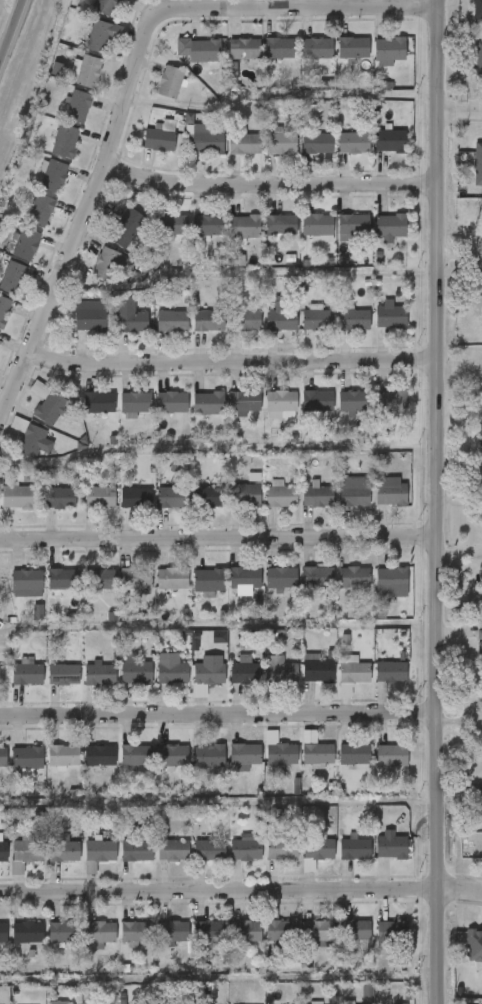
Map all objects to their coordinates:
building: (116, 1)
building: (104, 6)
building: (477, 9)
road: (10, 27)
building: (100, 37)
building: (88, 48)
building: (244, 48)
building: (279, 48)
building: (317, 48)
building: (353, 48)
building: (390, 49)
building: (205, 51)
building: (301, 60)
building: (338, 60)
building: (229, 61)
building: (265, 61)
building: (190, 63)
building: (374, 63)
building: (88, 72)
building: (471, 72)
building: (169, 82)
building: (71, 83)
road: (129, 86)
building: (155, 95)
building: (78, 107)
road: (460, 113)
building: (63, 119)
building: (159, 140)
building: (207, 140)
building: (391, 141)
building: (64, 142)
building: (280, 143)
building: (317, 143)
building: (244, 144)
building: (353, 144)
building: (145, 149)
building: (266, 153)
building: (374, 153)
building: (50, 154)
building: (338, 155)
building: (229, 156)
building: (302, 156)
building: (470, 176)
building: (52, 177)
road: (270, 184)
building: (37, 188)
building: (40, 211)
building: (25, 223)
building: (173, 225)
building: (281, 225)
building: (317, 225)
building: (353, 225)
building: (208, 226)
building: (244, 227)
building: (391, 227)
building: (126, 228)
building: (156, 236)
building: (265, 236)
building: (192, 237)
building: (338, 237)
building: (229, 239)
building: (303, 239)
building: (375, 239)
building: (112, 240)
building: (26, 244)
road: (460, 255)
building: (11, 256)
building: (105, 264)
building: (93, 276)
building: (12, 277)
building: (4, 310)
building: (89, 315)
building: (128, 316)
building: (390, 316)
building: (281, 318)
building: (245, 320)
building: (317, 320)
building: (353, 320)
building: (172, 321)
building: (208, 321)
building: (75, 328)
building: (375, 328)
building: (115, 329)
building: (232, 332)
building: (302, 332)
building: (338, 332)
building: (157, 333)
building: (195, 333)
building: (266, 333)
road: (232, 362)
building: (280, 401)
building: (317, 401)
building: (354, 401)
building: (136, 402)
building: (172, 402)
building: (244, 402)
building: (392, 402)
building: (98, 403)
building: (208, 403)
building: (48, 404)
building: (302, 413)
building: (84, 414)
building: (156, 414)
building: (229, 414)
building: (193, 415)
building: (265, 415)
building: (375, 415)
building: (32, 416)
building: (120, 416)
building: (480, 439)
building: (31, 442)
building: (19, 454)
building: (391, 492)
building: (244, 496)
building: (353, 496)
building: (17, 497)
building: (99, 497)
building: (208, 497)
building: (281, 497)
building: (317, 497)
building: (59, 498)
building: (136, 498)
building: (172, 498)
road: (437, 501)
building: (338, 504)
building: (376, 504)
building: (230, 507)
building: (265, 507)
building: (193, 508)
building: (302, 508)
building: (9, 509)
building: (84, 509)
building: (154, 509)
building: (45, 510)
building: (120, 510)
road: (218, 537)
building: (477, 539)
building: (135, 578)
building: (172, 578)
building: (244, 578)
building: (281, 578)
building: (317, 578)
building: (354, 578)
building: (103, 579)
building: (391, 579)
building: (210, 580)
building: (62, 582)
building: (26, 583)
building: (338, 589)
building: (302, 590)
building: (87, 591)
building: (120, 591)
building: (157, 591)
building: (229, 591)
building: (266, 592)
building: (193, 594)
building: (376, 594)
building: (13, 595)
building: (43, 595)
building: (477, 598)
building: (23, 624)
building: (479, 643)
building: (204, 648)
building: (317, 669)
building: (135, 670)
building: (171, 670)
building: (280, 670)
building: (208, 672)
building: (354, 672)
building: (391, 672)
building: (242, 673)
building: (1, 674)
building: (27, 674)
building: (63, 675)
building: (100, 675)
building: (156, 681)
building: (302, 681)
building: (120, 682)
building: (194, 682)
building: (265, 682)
building: (13, 684)
building: (230, 684)
building: (376, 684)
building: (48, 686)
building: (84, 686)
building: (336, 686)
building: (478, 696)
road: (219, 715)
road: (460, 719)
building: (479, 746)
building: (317, 754)
building: (100, 755)
building: (136, 755)
building: (172, 755)
building: (245, 755)
building: (281, 755)
building: (354, 755)
building: (63, 756)
building: (208, 756)
building: (391, 756)
building: (3, 757)
building: (26, 758)
building: (264, 765)
building: (339, 766)
building: (84, 767)
building: (120, 767)
building: (157, 767)
building: (302, 767)
building: (48, 768)
building: (193, 768)
building: (229, 768)
building: (376, 769)
building: (13, 770)
building: (481, 800)
building: (29, 847)
building: (391, 847)
building: (282, 849)
building: (355, 849)
building: (136, 850)
building: (173, 850)
building: (209, 850)
building: (245, 850)
building: (64, 851)
building: (100, 851)
building: (316, 852)
building: (375, 858)
building: (339, 860)
building: (267, 861)
building: (303, 861)
building: (14, 862)
building: (85, 862)
building: (121, 862)
building: (158, 862)
building: (230, 862)
building: (49, 863)
building: (194, 863)
building: (476, 863)
building: (75, 879)
building: (4, 880)
road: (460, 890)
road: (219, 891)
building: (280, 930)
building: (354, 930)
building: (100, 931)
building: (208, 931)
building: (246, 931)
building: (318, 931)
building: (3, 932)
building: (24, 932)
building: (63, 932)
building: (136, 932)
building: (173, 932)
building: (392, 932)
building: (339, 941)
building: (377, 941)
building: (158, 942)
building: (230, 943)
building: (266, 943)
building: (12, 944)
building: (46, 944)
building: (194, 944)
building: (121, 945)
building: (303, 945)
building: (474, 945)
building: (85, 946)
building: (464, 957)
building: (353, 999)
building: (58, 1003)
building: (312, 1003)
building: (345, 1003)

